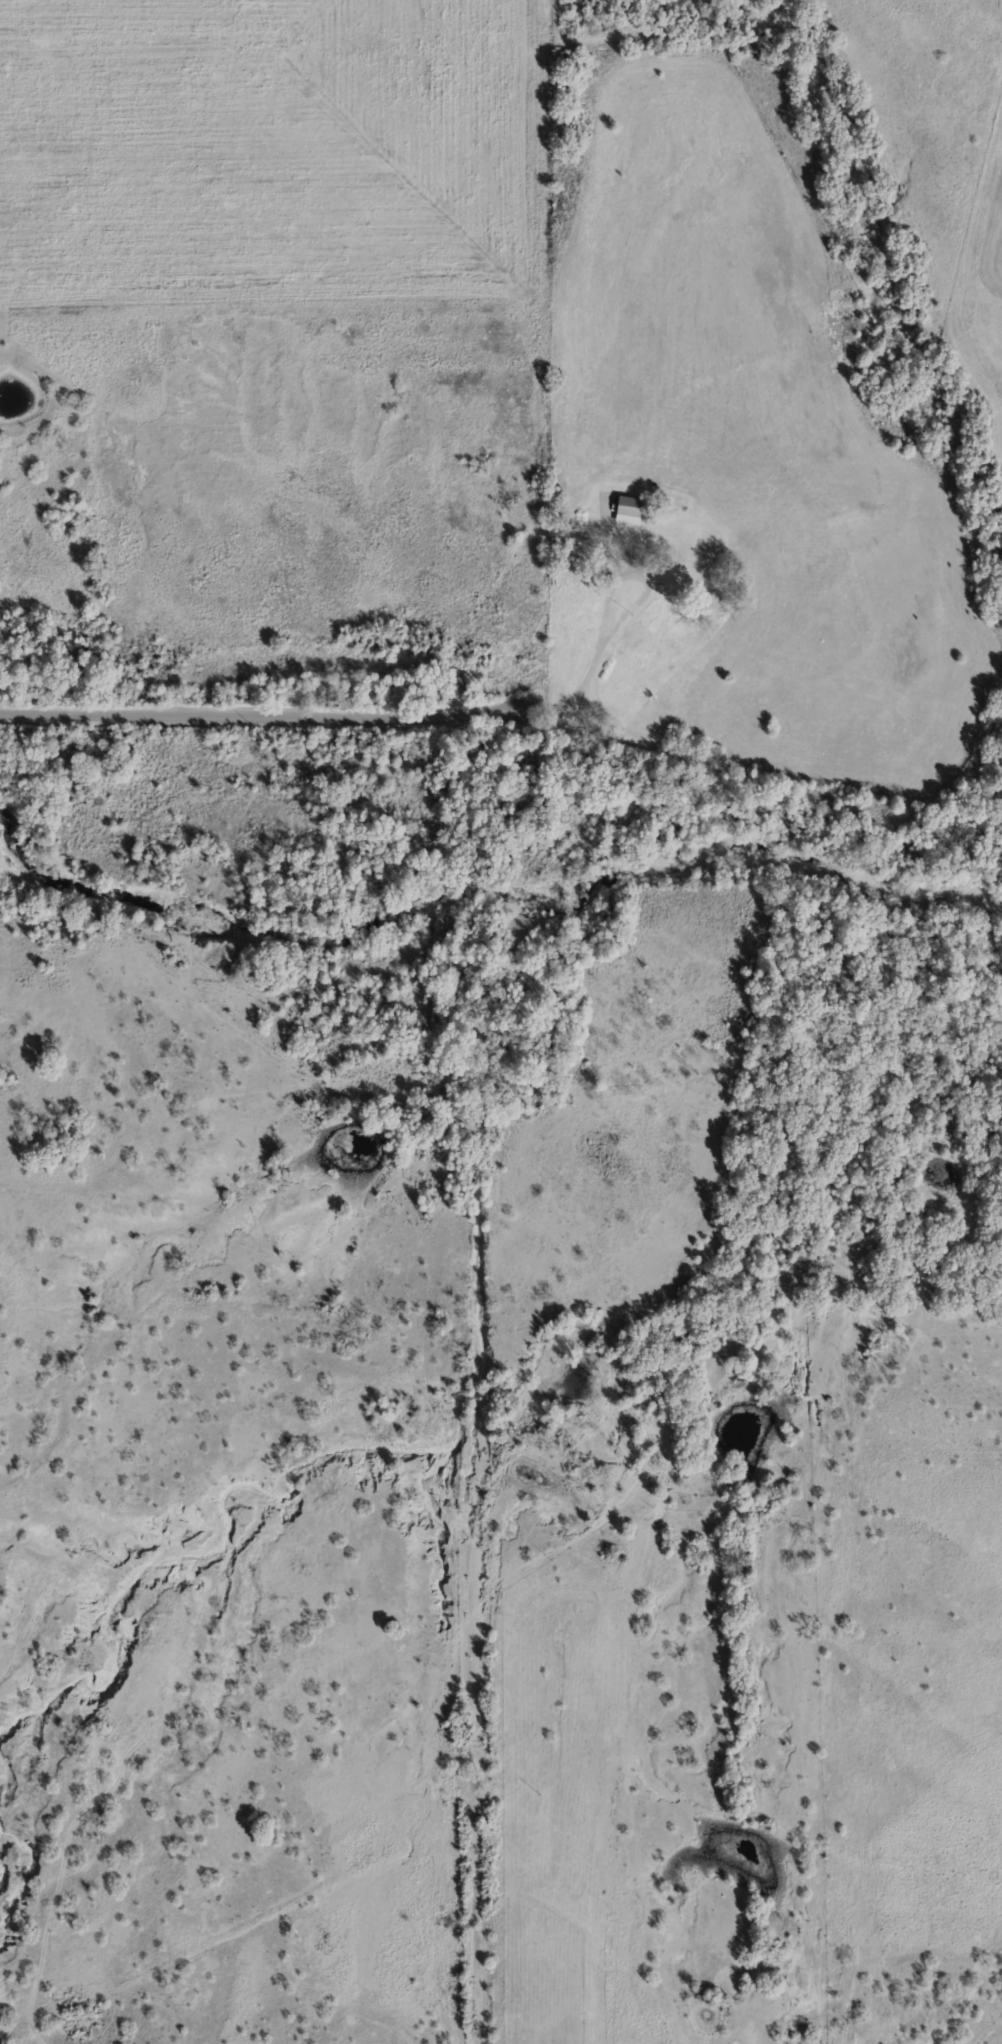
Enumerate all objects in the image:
building: (628, 506)
building: (673, 591)
road: (629, 609)
road: (269, 717)
road: (480, 1532)

